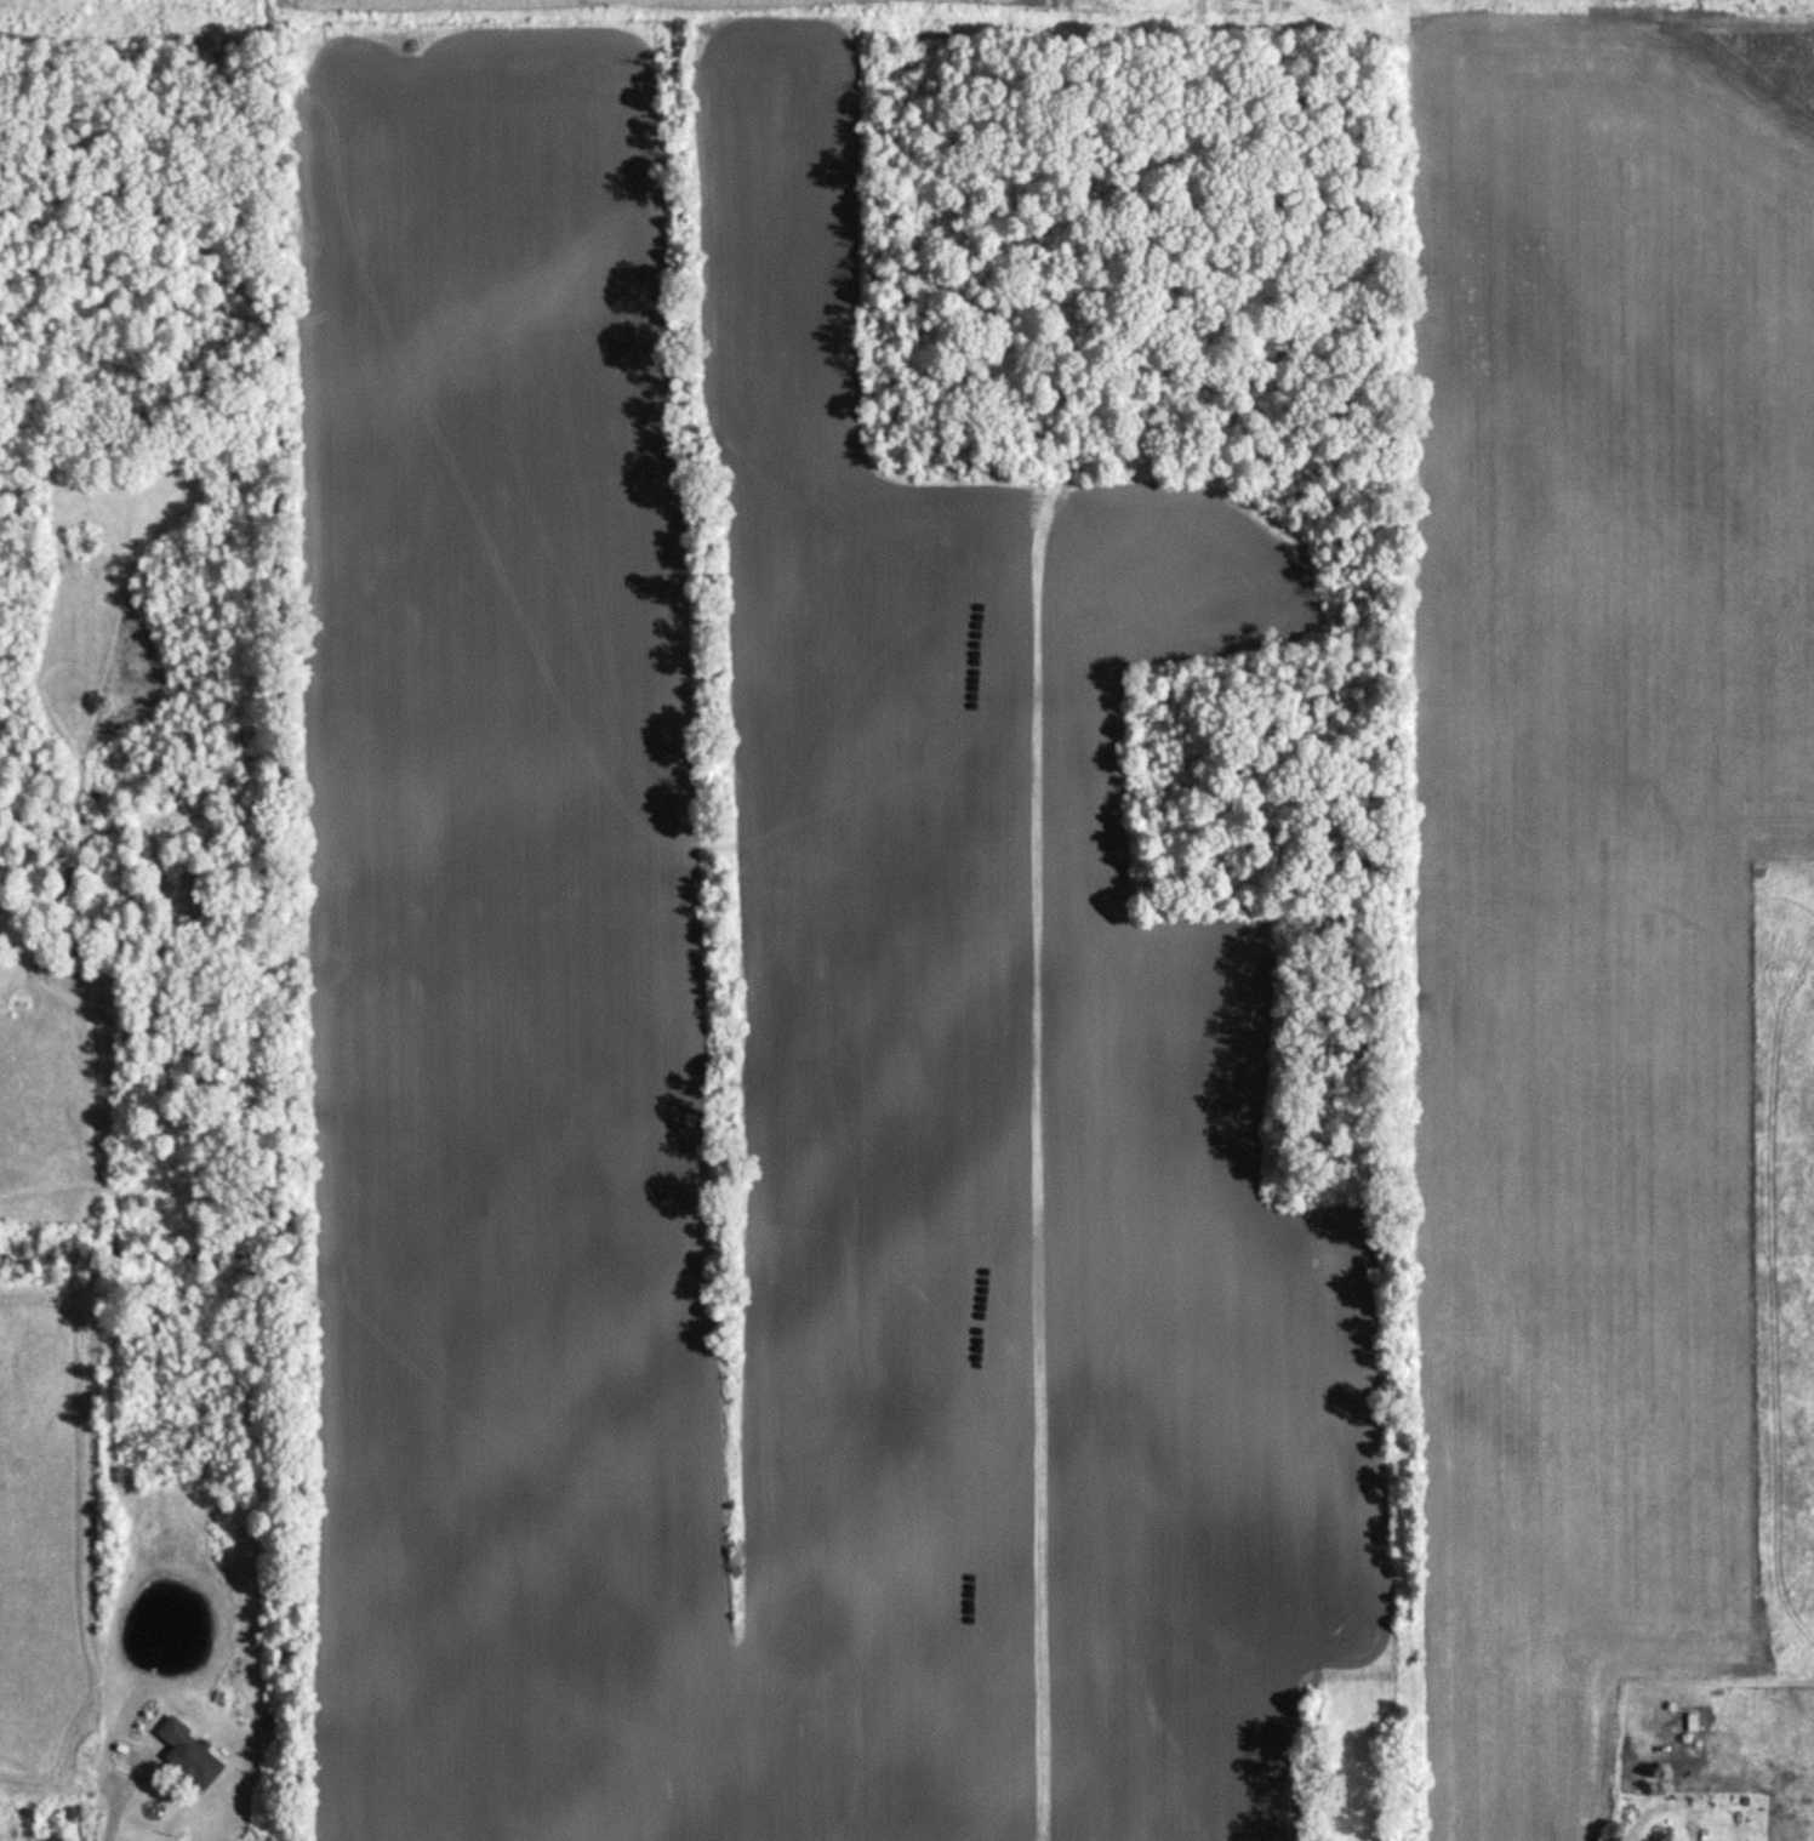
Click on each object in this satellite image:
building: (186, 1756)
road: (107, 1807)

